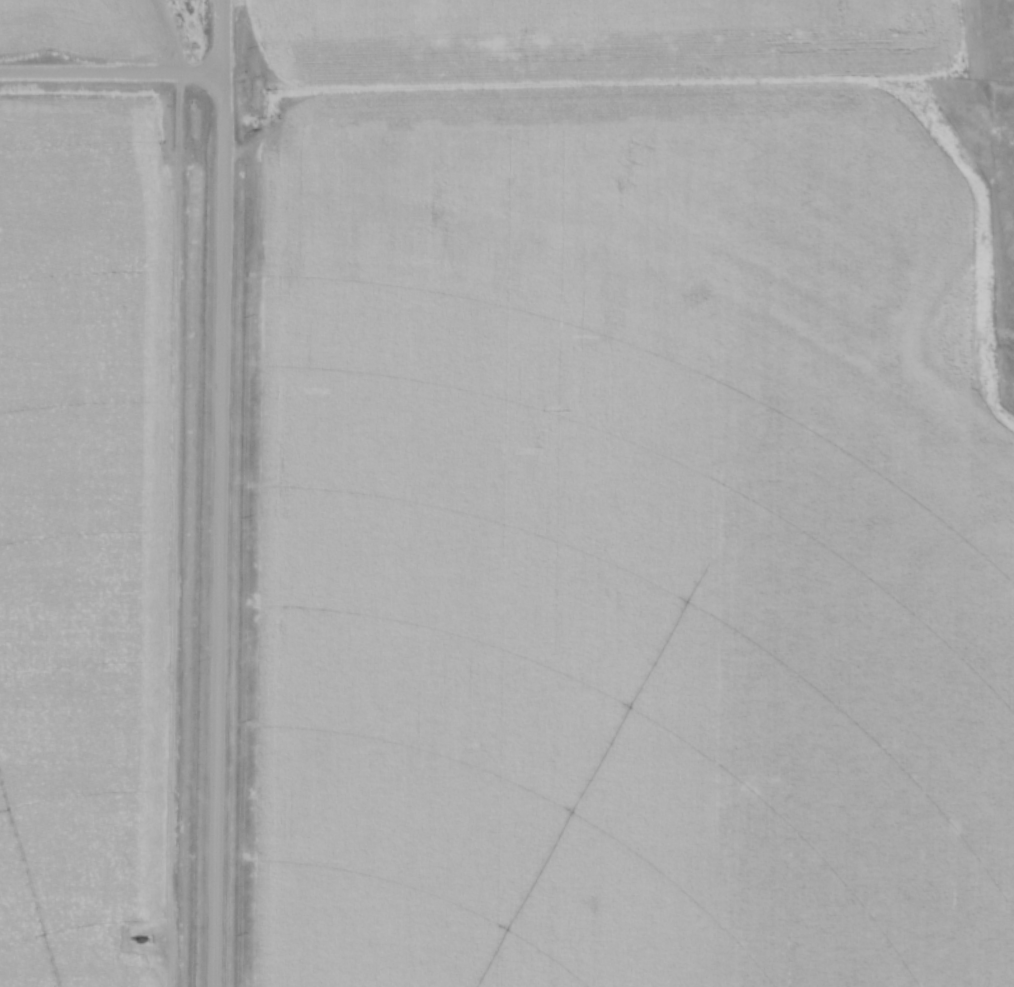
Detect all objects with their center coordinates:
road: (113, 73)
road: (223, 493)

